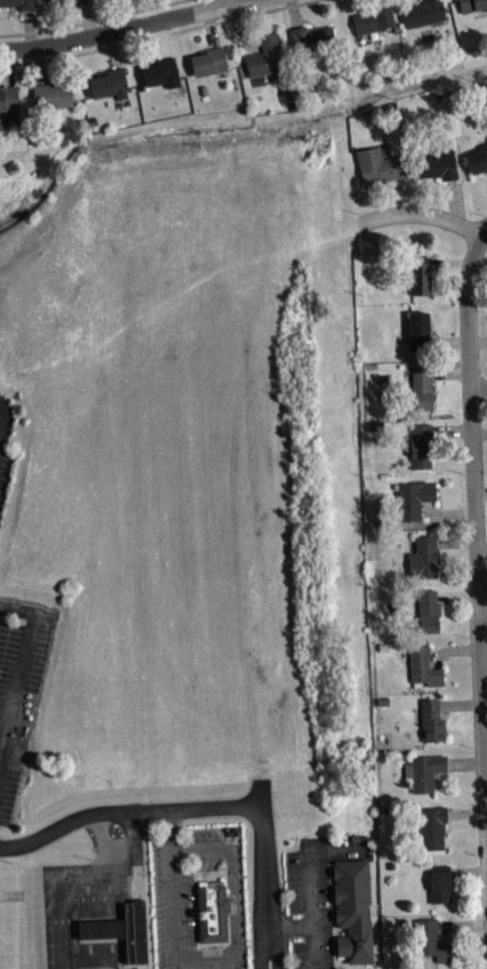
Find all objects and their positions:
road: (230, 1)
building: (61, 2)
building: (19, 4)
building: (472, 5)
building: (422, 13)
road: (92, 20)
building: (372, 20)
road: (122, 29)
road: (158, 35)
building: (310, 36)
building: (266, 57)
building: (208, 61)
building: (159, 70)
building: (109, 84)
building: (52, 95)
building: (8, 99)
building: (477, 159)
building: (434, 163)
building: (379, 166)
road: (420, 215)
building: (420, 275)
building: (418, 331)
building: (421, 388)
road: (478, 388)
building: (420, 445)
building: (412, 498)
road: (474, 499)
building: (424, 557)
building: (428, 610)
road: (483, 615)
building: (422, 667)
road: (22, 686)
parking lot: (18, 705)
building: (430, 721)
building: (423, 771)
road: (208, 810)
building: (431, 827)
road: (169, 829)
road: (307, 859)
building: (439, 883)
parking lot: (182, 894)
parking lot: (315, 895)
building: (352, 909)
building: (210, 914)
building: (122, 927)
road: (310, 927)
building: (430, 941)
road: (229, 955)

